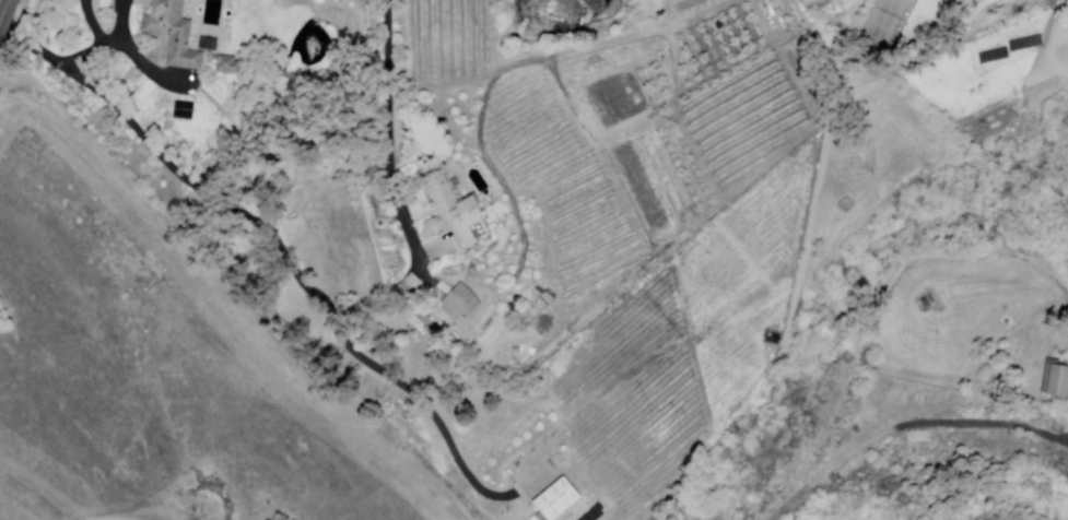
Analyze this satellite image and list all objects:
road: (7, 13)
park: (885, 26)
building: (174, 35)
road: (109, 43)
road: (136, 62)
building: (227, 64)
road: (391, 130)
building: (457, 211)
road: (279, 248)
building: (459, 302)
building: (1058, 381)
building: (559, 499)

